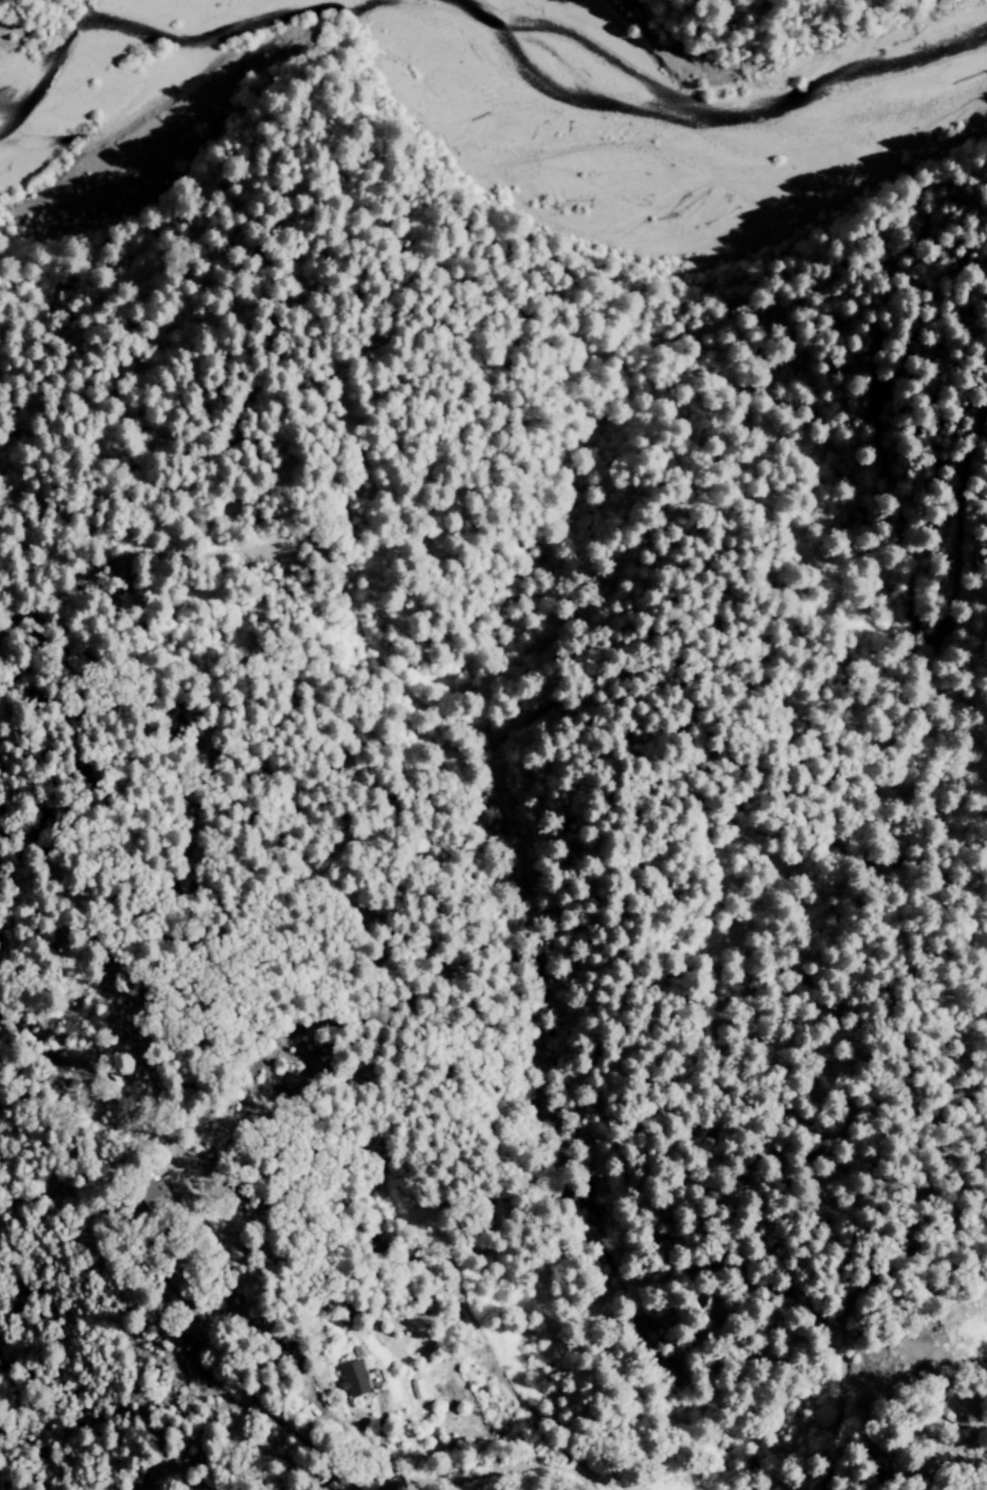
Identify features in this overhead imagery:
river: (71, 58)
river: (653, 105)
road: (487, 801)
building: (164, 1192)
power tower: (944, 1343)
building: (353, 1377)
building: (374, 1378)
road: (243, 1381)
road: (378, 1442)

